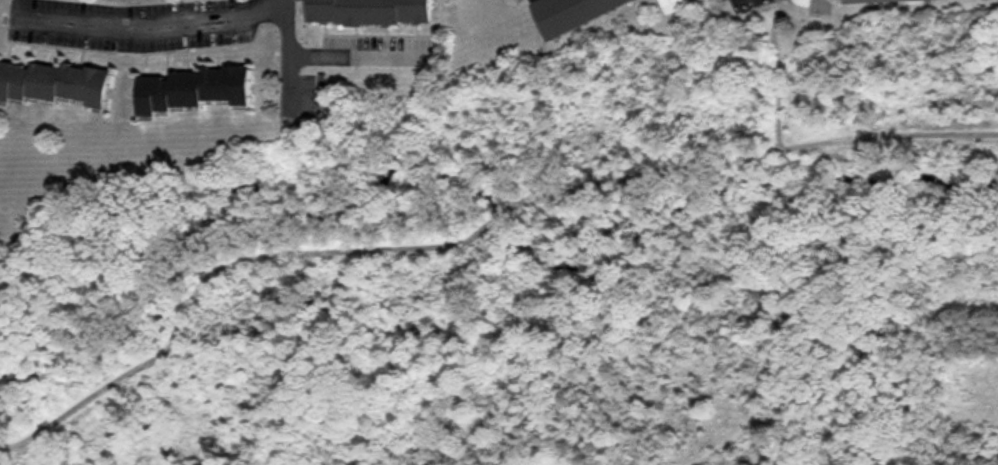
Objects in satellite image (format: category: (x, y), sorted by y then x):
building: (864, 0)
building: (673, 6)
building: (371, 11)
building: (575, 14)
road: (154, 24)
road: (357, 57)
road: (289, 61)
road: (777, 73)
building: (56, 83)
building: (191, 88)
road: (469, 238)

